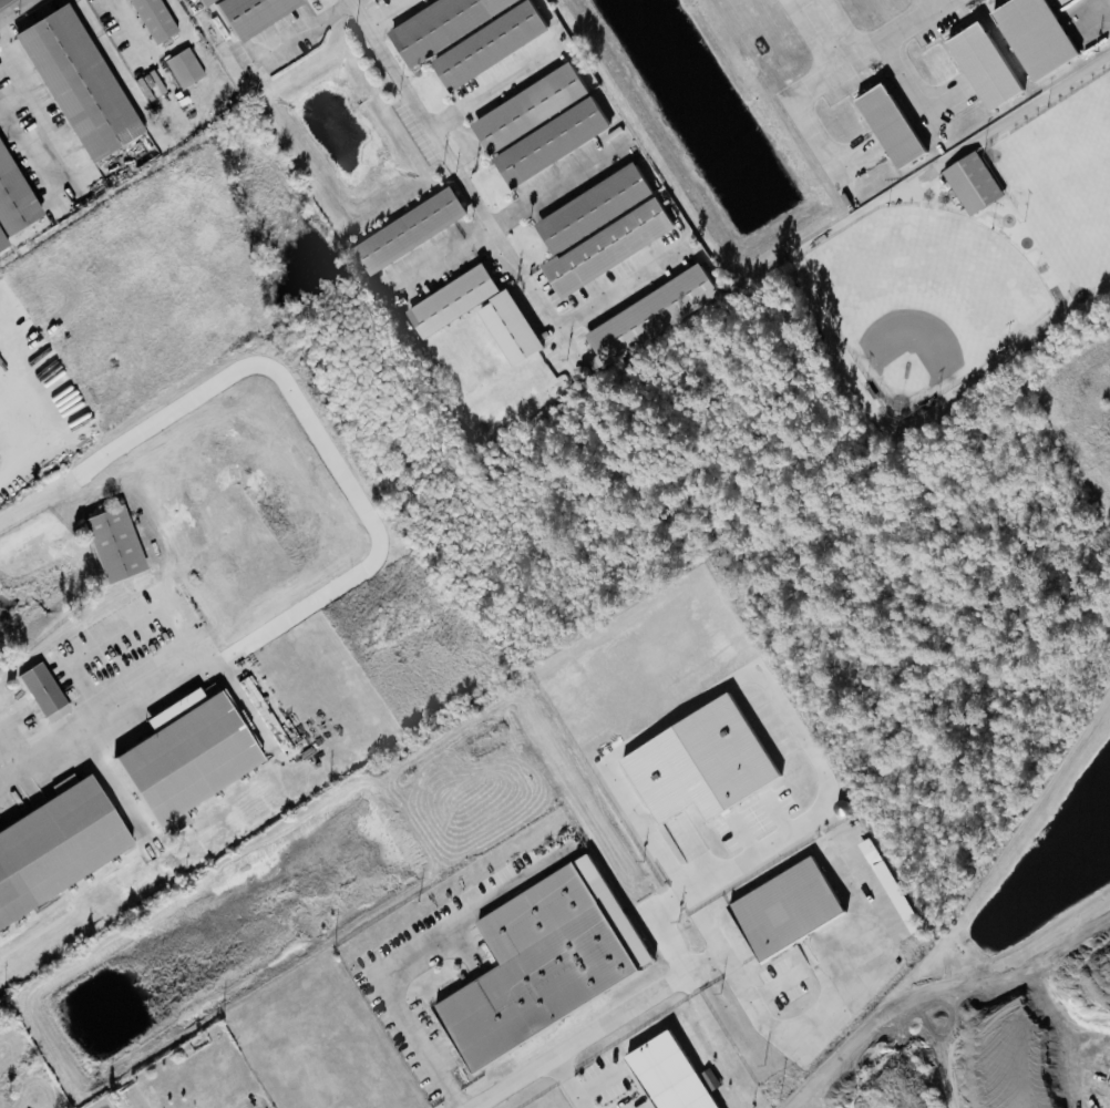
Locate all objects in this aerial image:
building: (761, 0)
road: (2, 1)
building: (204, 2)
road: (942, 3)
road: (384, 12)
building: (251, 13)
building: (154, 19)
building: (440, 25)
road: (307, 27)
building: (1035, 34)
road: (179, 40)
building: (490, 44)
road: (134, 52)
road: (6, 55)
building: (985, 64)
building: (184, 68)
road: (834, 70)
building: (75, 83)
road: (491, 90)
road: (913, 93)
road: (1028, 106)
building: (531, 107)
building: (891, 125)
road: (34, 127)
building: (552, 141)
road: (458, 177)
building: (973, 182)
park: (1065, 183)
road: (551, 185)
building: (14, 196)
building: (594, 206)
building: (412, 229)
building: (2, 243)
building: (609, 247)
road: (610, 290)
park: (923, 297)
building: (453, 300)
building: (650, 314)
building: (512, 327)
road: (68, 388)
road: (11, 439)
road: (126, 447)
road: (329, 451)
road: (11, 465)
building: (114, 544)
road: (194, 670)
building: (45, 693)
road: (784, 714)
building: (187, 758)
road: (25, 792)
building: (54, 844)
road: (865, 922)
building: (551, 962)
road: (388, 989)
road: (593, 1030)
building: (677, 1074)
road: (584, 1085)

